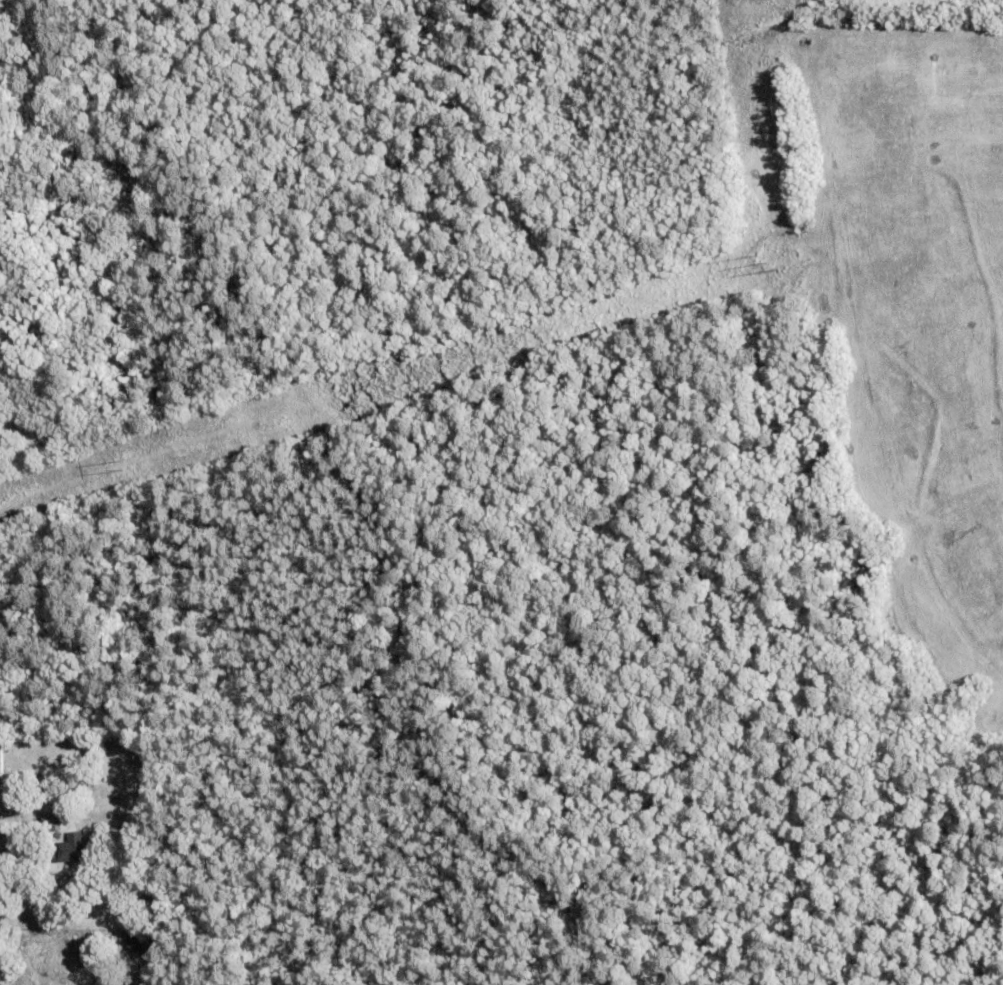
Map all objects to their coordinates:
building: (0, 755)
building: (51, 823)
building: (75, 849)
road: (41, 874)
building: (148, 902)
building: (139, 942)

